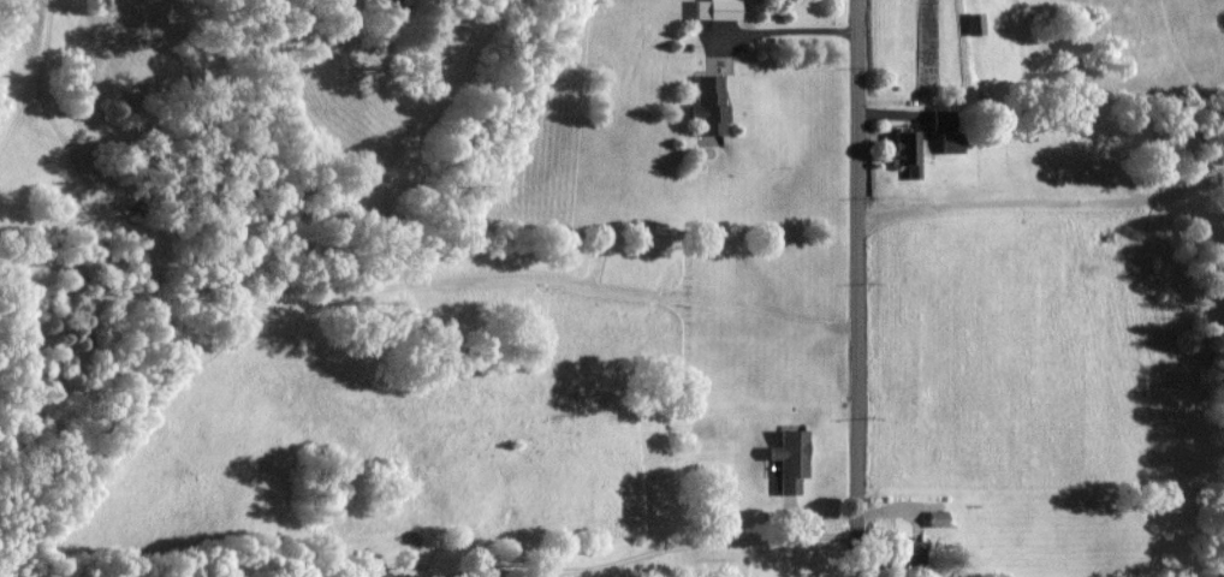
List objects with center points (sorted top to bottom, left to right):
building: (718, 8)
building: (713, 106)
building: (943, 119)
building: (909, 143)
road: (1042, 201)
road: (857, 287)
building: (790, 458)
building: (941, 517)
road: (643, 551)
building: (908, 557)
building: (396, 576)

